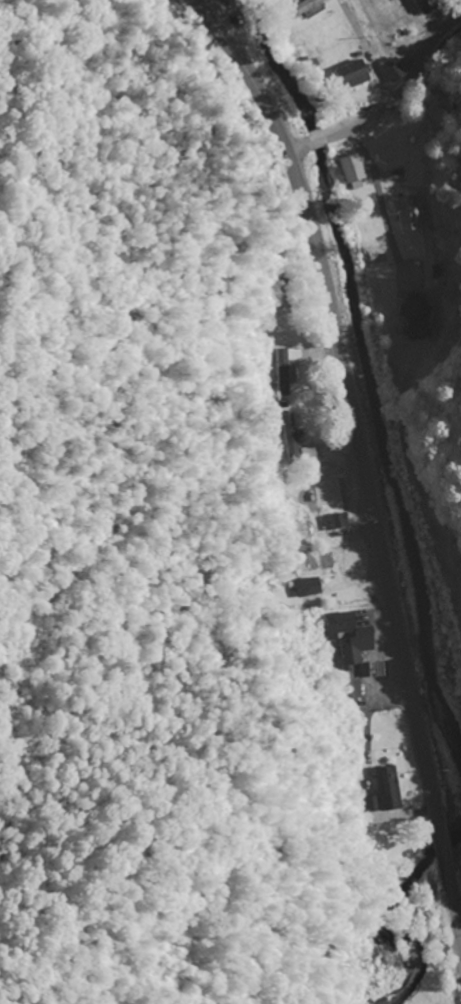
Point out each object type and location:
building: (421, 6)
building: (300, 9)
road: (250, 39)
building: (390, 69)
building: (348, 75)
road: (387, 101)
building: (349, 172)
building: (405, 214)
building: (413, 315)
building: (287, 370)
building: (291, 436)
road: (361, 453)
building: (334, 522)
building: (302, 534)
building: (306, 588)
building: (346, 637)
building: (383, 792)

